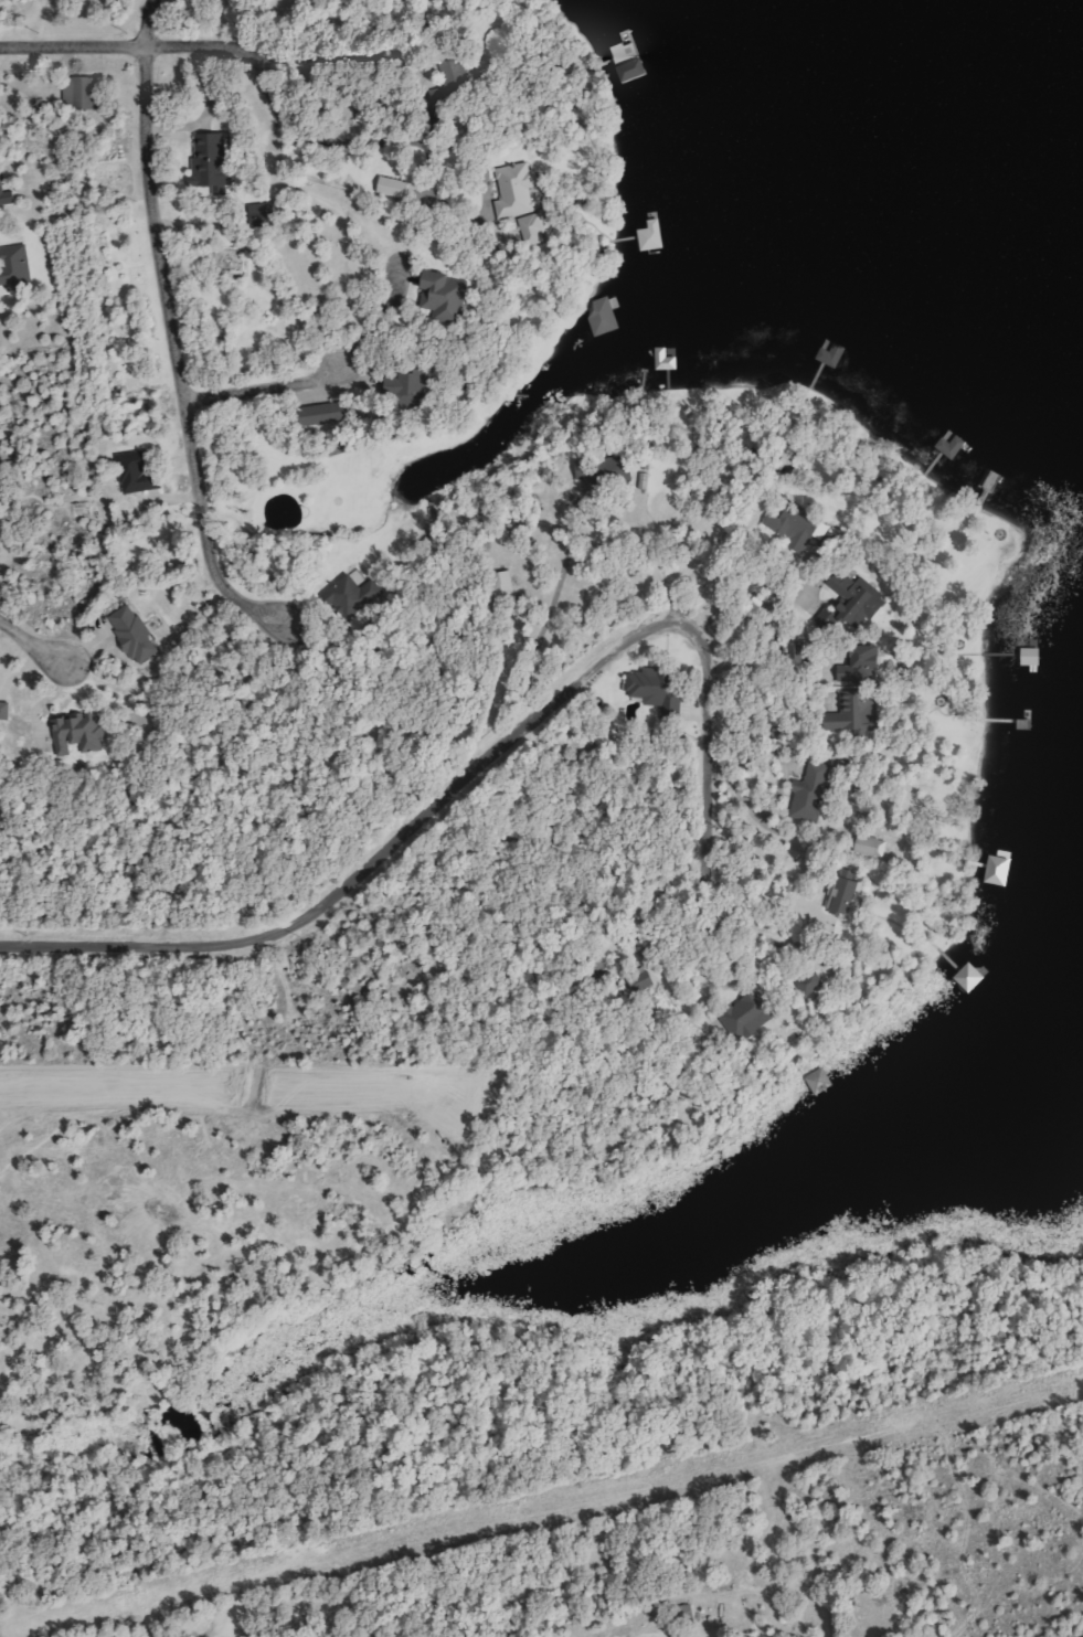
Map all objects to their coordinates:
road: (167, 45)
building: (634, 62)
building: (83, 92)
building: (212, 159)
building: (396, 188)
building: (519, 190)
building: (534, 226)
building: (655, 236)
building: (15, 266)
building: (446, 295)
building: (606, 317)
road: (167, 326)
building: (668, 360)
building: (412, 383)
road: (264, 389)
building: (322, 418)
building: (954, 446)
building: (140, 474)
building: (795, 524)
building: (860, 598)
building: (136, 634)
building: (801, 649)
building: (864, 662)
building: (651, 684)
building: (6, 710)
building: (860, 711)
building: (79, 732)
road: (467, 774)
building: (814, 791)
building: (1001, 870)
building: (851, 897)
building: (752, 1014)
building: (821, 1081)

